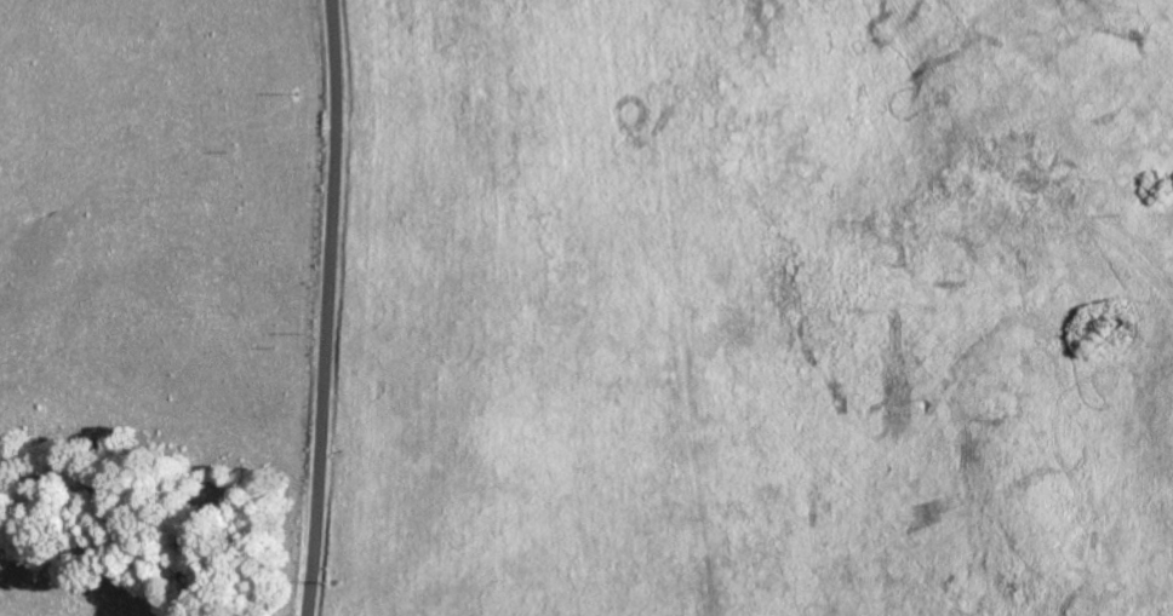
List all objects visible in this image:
road: (328, 307)

